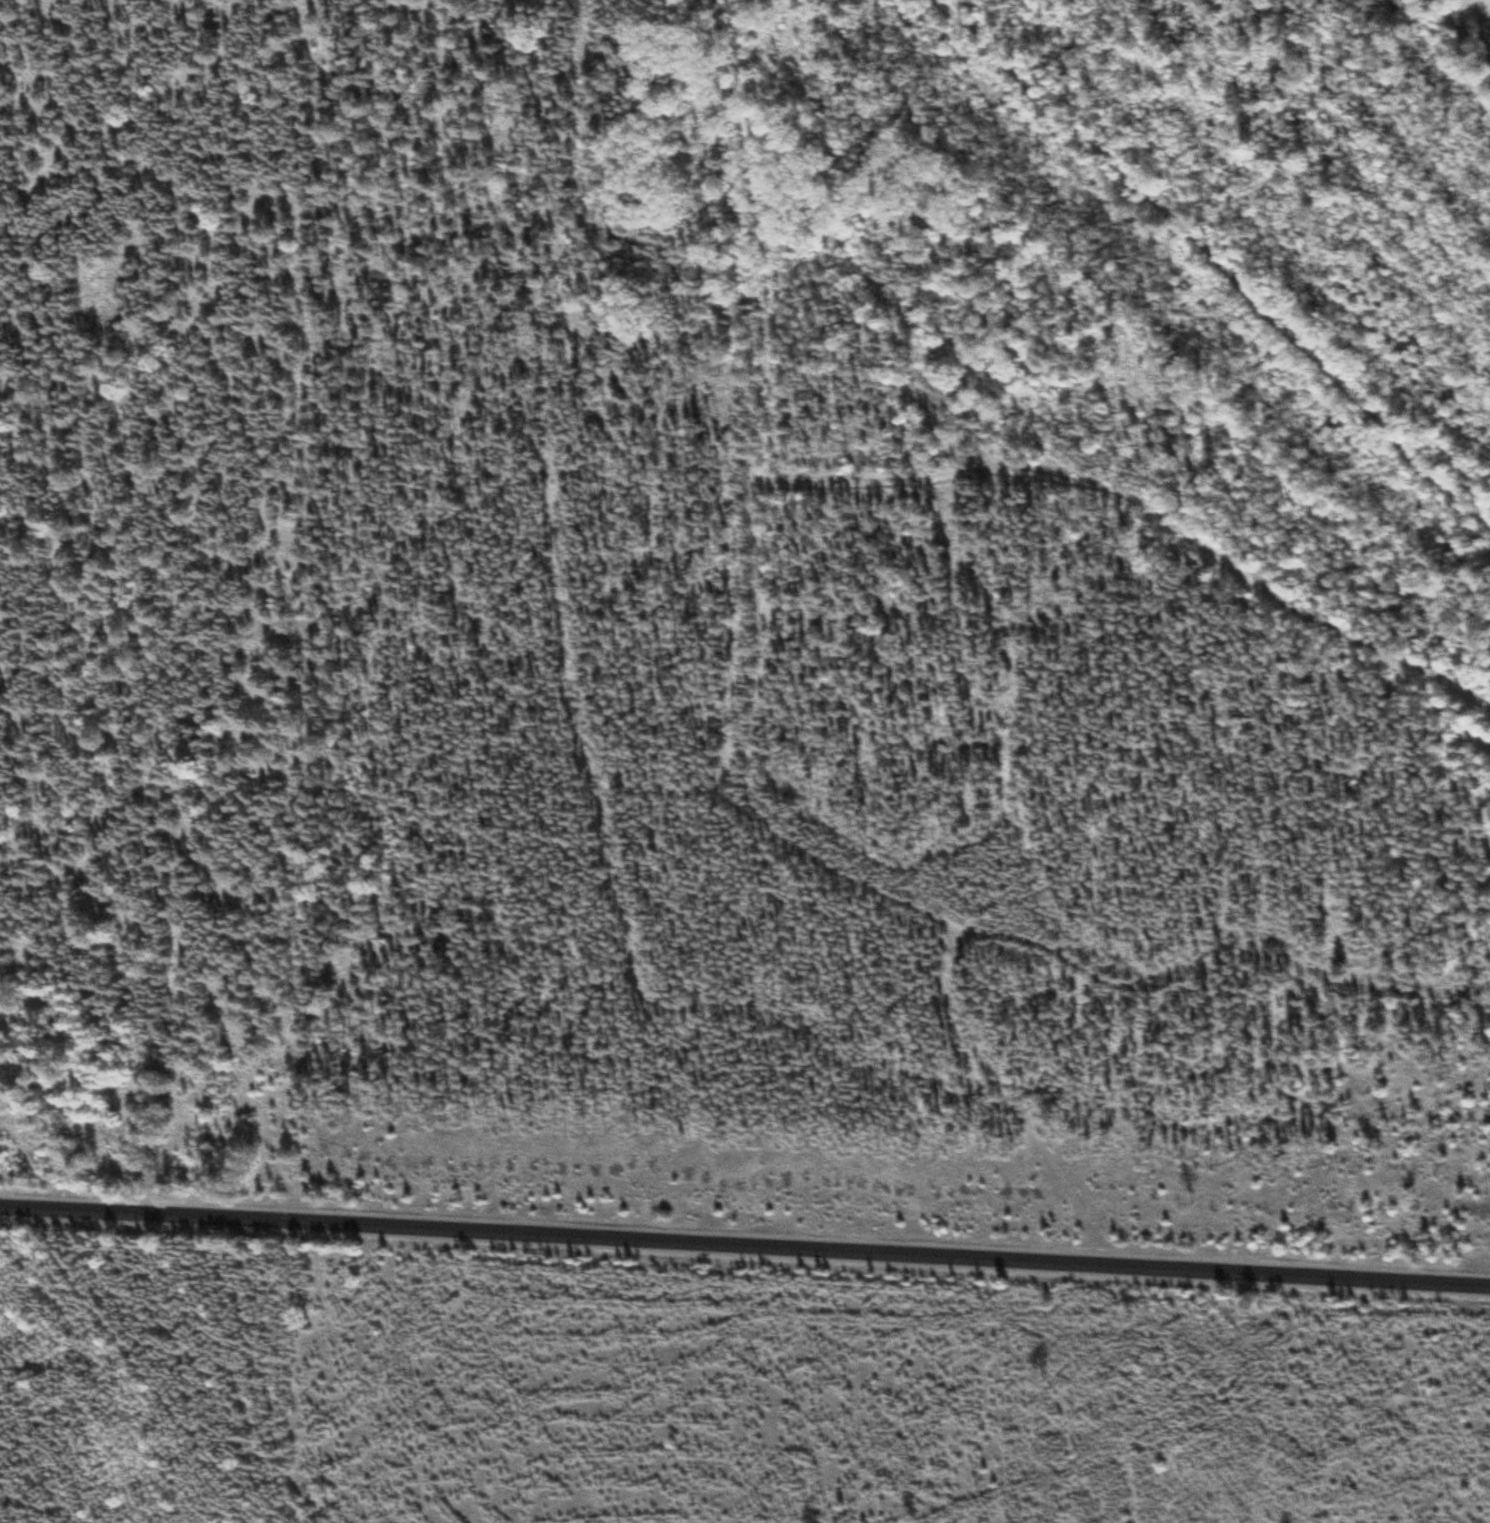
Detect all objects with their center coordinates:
road: (744, 1240)

